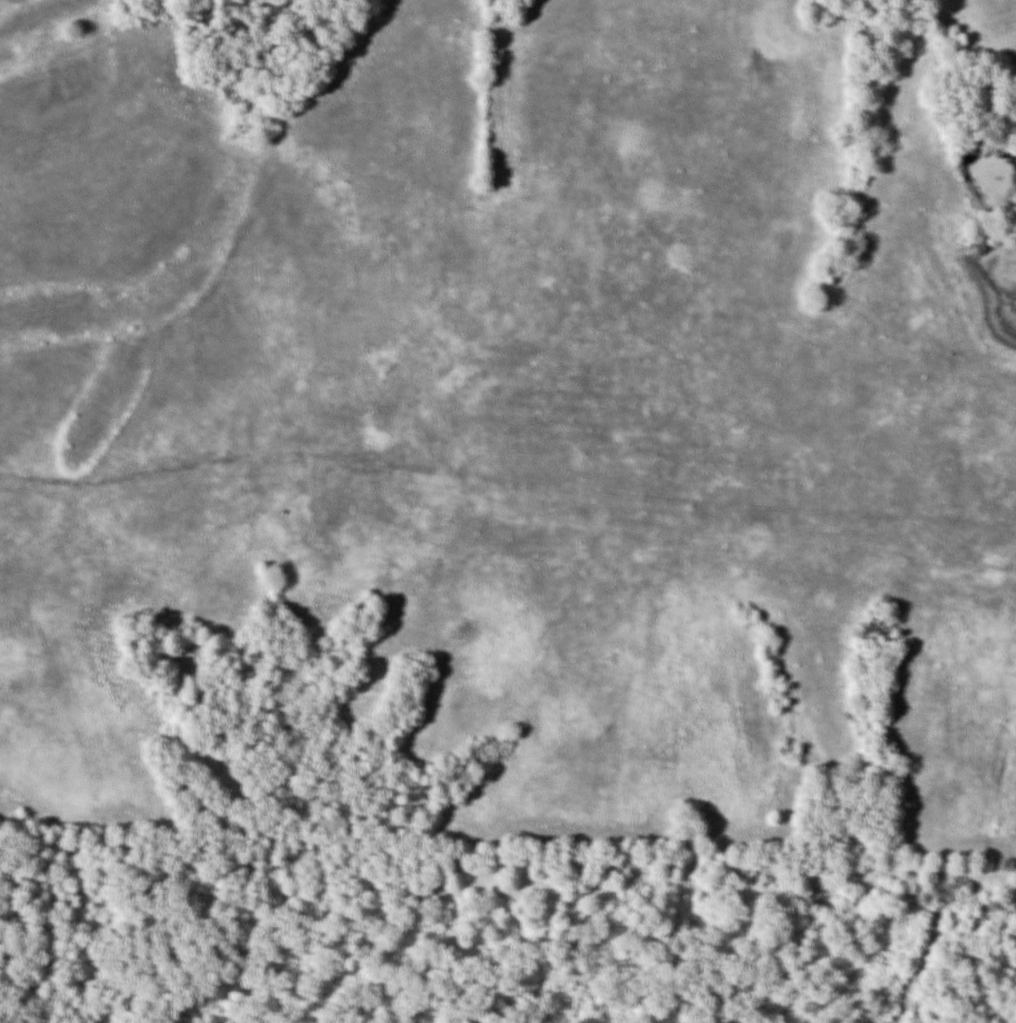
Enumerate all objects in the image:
building: (1015, 636)

